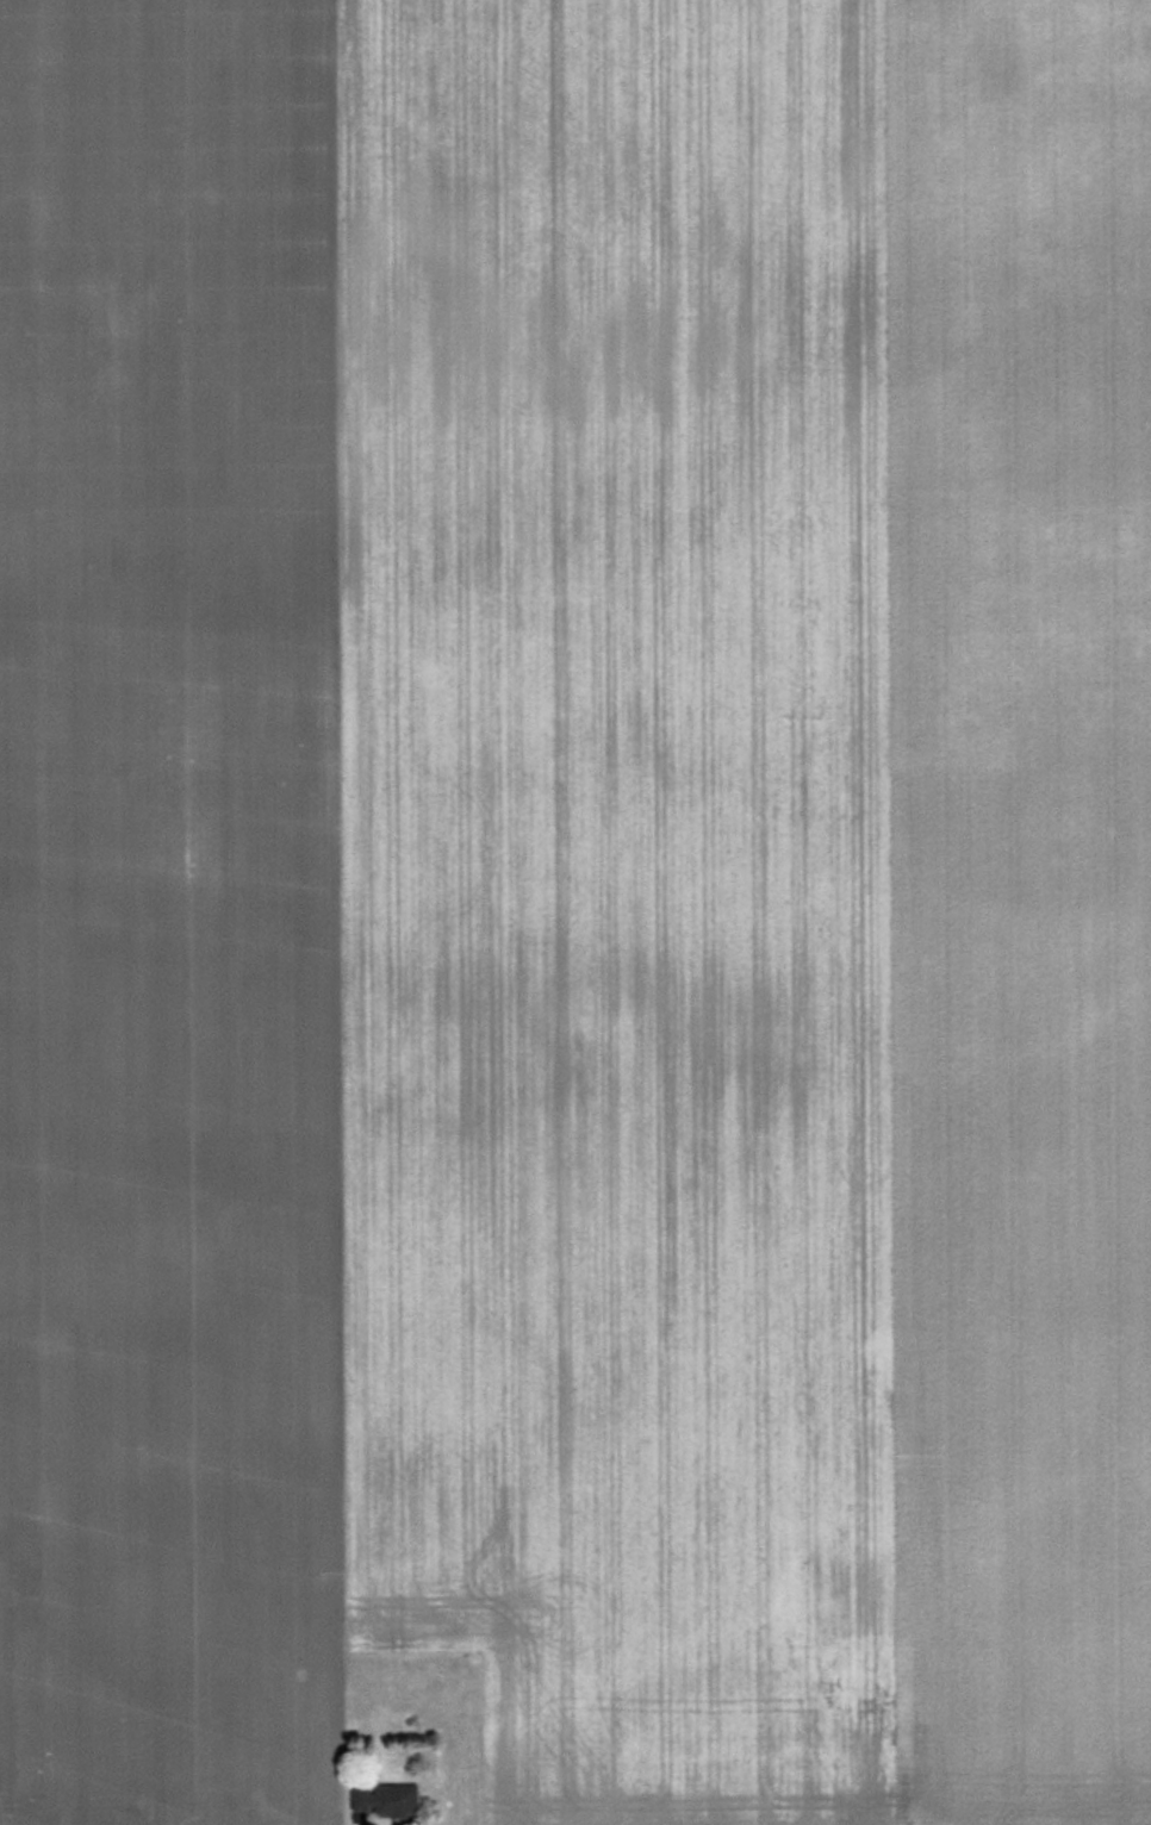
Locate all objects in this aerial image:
building: (875, 1395)
building: (798, 1670)
building: (390, 1799)

